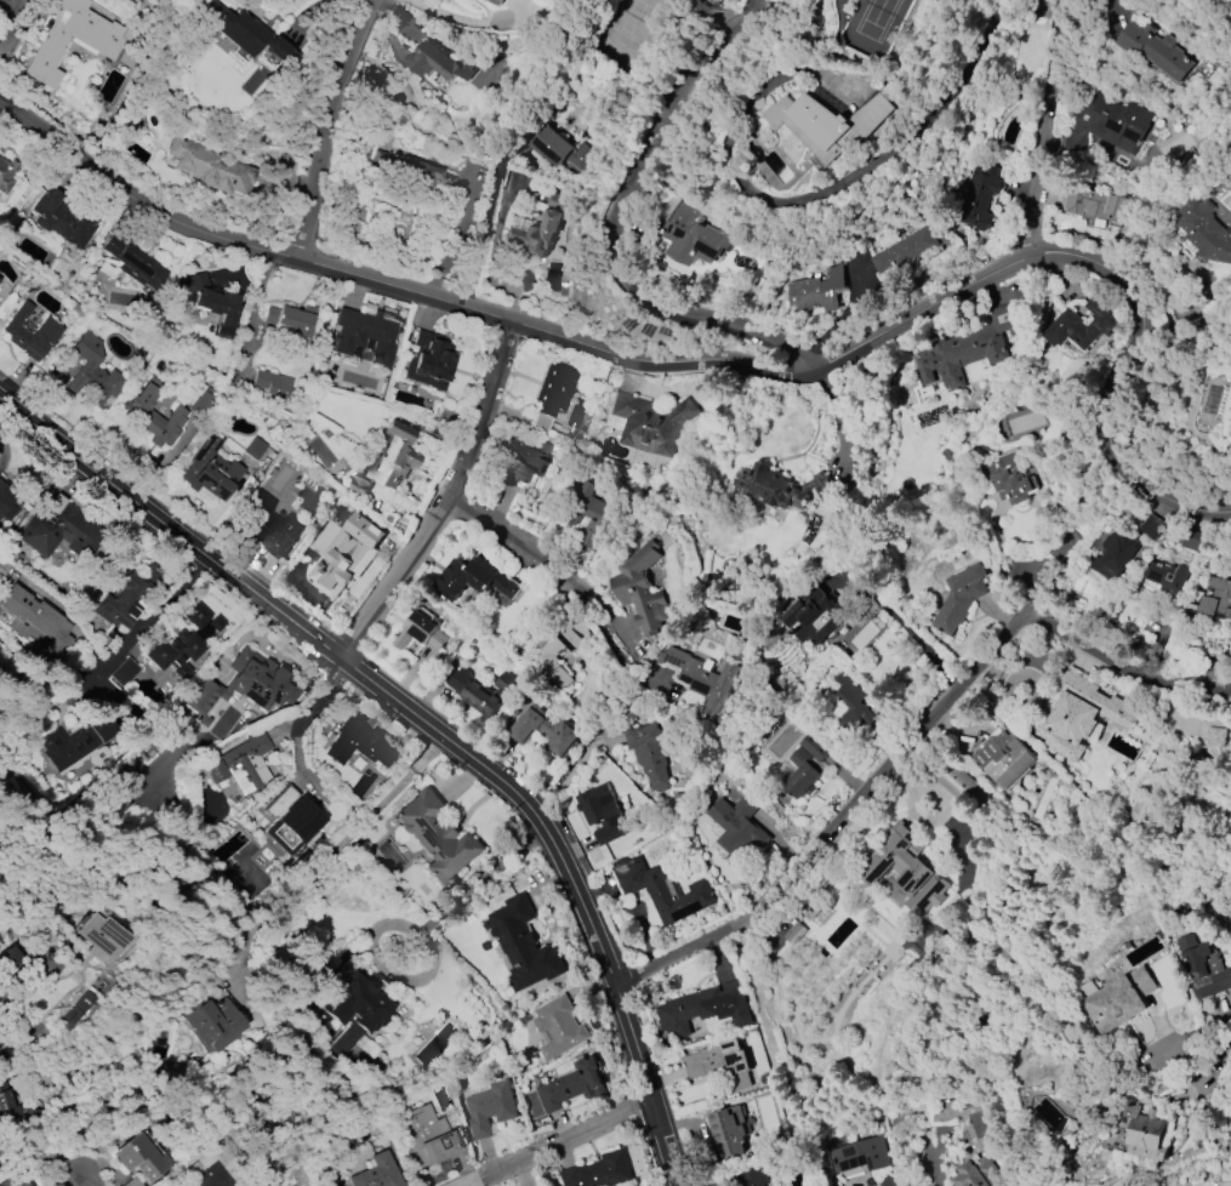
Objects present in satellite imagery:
building: (496, 2)
building: (1226, 4)
road: (1113, 10)
building: (699, 15)
road: (1004, 15)
road: (457, 18)
road: (13, 22)
building: (250, 35)
building: (1155, 49)
building: (49, 50)
building: (441, 63)
building: (1112, 121)
building: (830, 124)
road: (1039, 125)
road: (321, 126)
building: (555, 148)
building: (210, 166)
building: (408, 170)
building: (6, 175)
road: (840, 189)
building: (978, 196)
building: (1094, 204)
building: (62, 218)
building: (540, 228)
road: (612, 228)
building: (1206, 230)
road: (484, 233)
building: (693, 238)
building: (905, 250)
building: (133, 262)
building: (816, 291)
building: (215, 302)
road: (255, 315)
building: (291, 319)
building: (1082, 324)
building: (29, 332)
building: (364, 337)
building: (971, 346)
building: (429, 361)
road: (714, 364)
building: (92, 374)
building: (272, 383)
building: (551, 394)
building: (203, 401)
building: (153, 415)
building: (650, 424)
building: (255, 449)
building: (387, 460)
building: (522, 464)
building: (210, 471)
building: (1008, 479)
building: (781, 487)
building: (8, 502)
road: (448, 504)
building: (588, 507)
building: (268, 526)
building: (1152, 526)
building: (59, 529)
road: (490, 531)
building: (1193, 541)
building: (347, 555)
building: (1115, 555)
building: (1167, 577)
building: (475, 578)
road: (595, 591)
building: (640, 591)
building: (961, 597)
building: (126, 598)
building: (1216, 598)
road: (159, 611)
road: (273, 612)
building: (813, 617)
road: (896, 617)
building: (36, 625)
building: (420, 633)
building: (181, 645)
building: (564, 649)
building: (122, 672)
building: (699, 677)
building: (261, 680)
building: (479, 688)
building: (203, 696)
building: (851, 706)
building: (1079, 714)
road: (300, 725)
building: (541, 731)
building: (1214, 734)
road: (913, 737)
building: (357, 743)
building: (76, 746)
building: (814, 748)
building: (649, 754)
building: (1004, 759)
building: (238, 764)
building: (802, 775)
road: (848, 780)
building: (953, 780)
building: (602, 811)
building: (301, 819)
building: (737, 826)
building: (437, 837)
road: (335, 849)
building: (902, 868)
road: (483, 879)
building: (662, 890)
building: (794, 935)
building: (103, 939)
building: (523, 945)
building: (1202, 970)
building: (1116, 999)
road: (28, 1002)
road: (622, 1003)
building: (358, 1007)
building: (703, 1009)
building: (78, 1010)
building: (215, 1016)
building: (558, 1028)
road: (1190, 1033)
road: (1219, 1054)
building: (718, 1065)
building: (572, 1085)
building: (6, 1104)
building: (492, 1107)
building: (731, 1130)
building: (1142, 1133)
building: (426, 1137)
road: (559, 1144)
building: (860, 1156)
building: (143, 1157)
road: (930, 1161)
building: (600, 1171)
building: (377, 1173)
building: (975, 1173)
building: (752, 1175)
building: (13, 1180)
building: (890, 1181)
road: (92, 1182)
building: (183, 1185)

